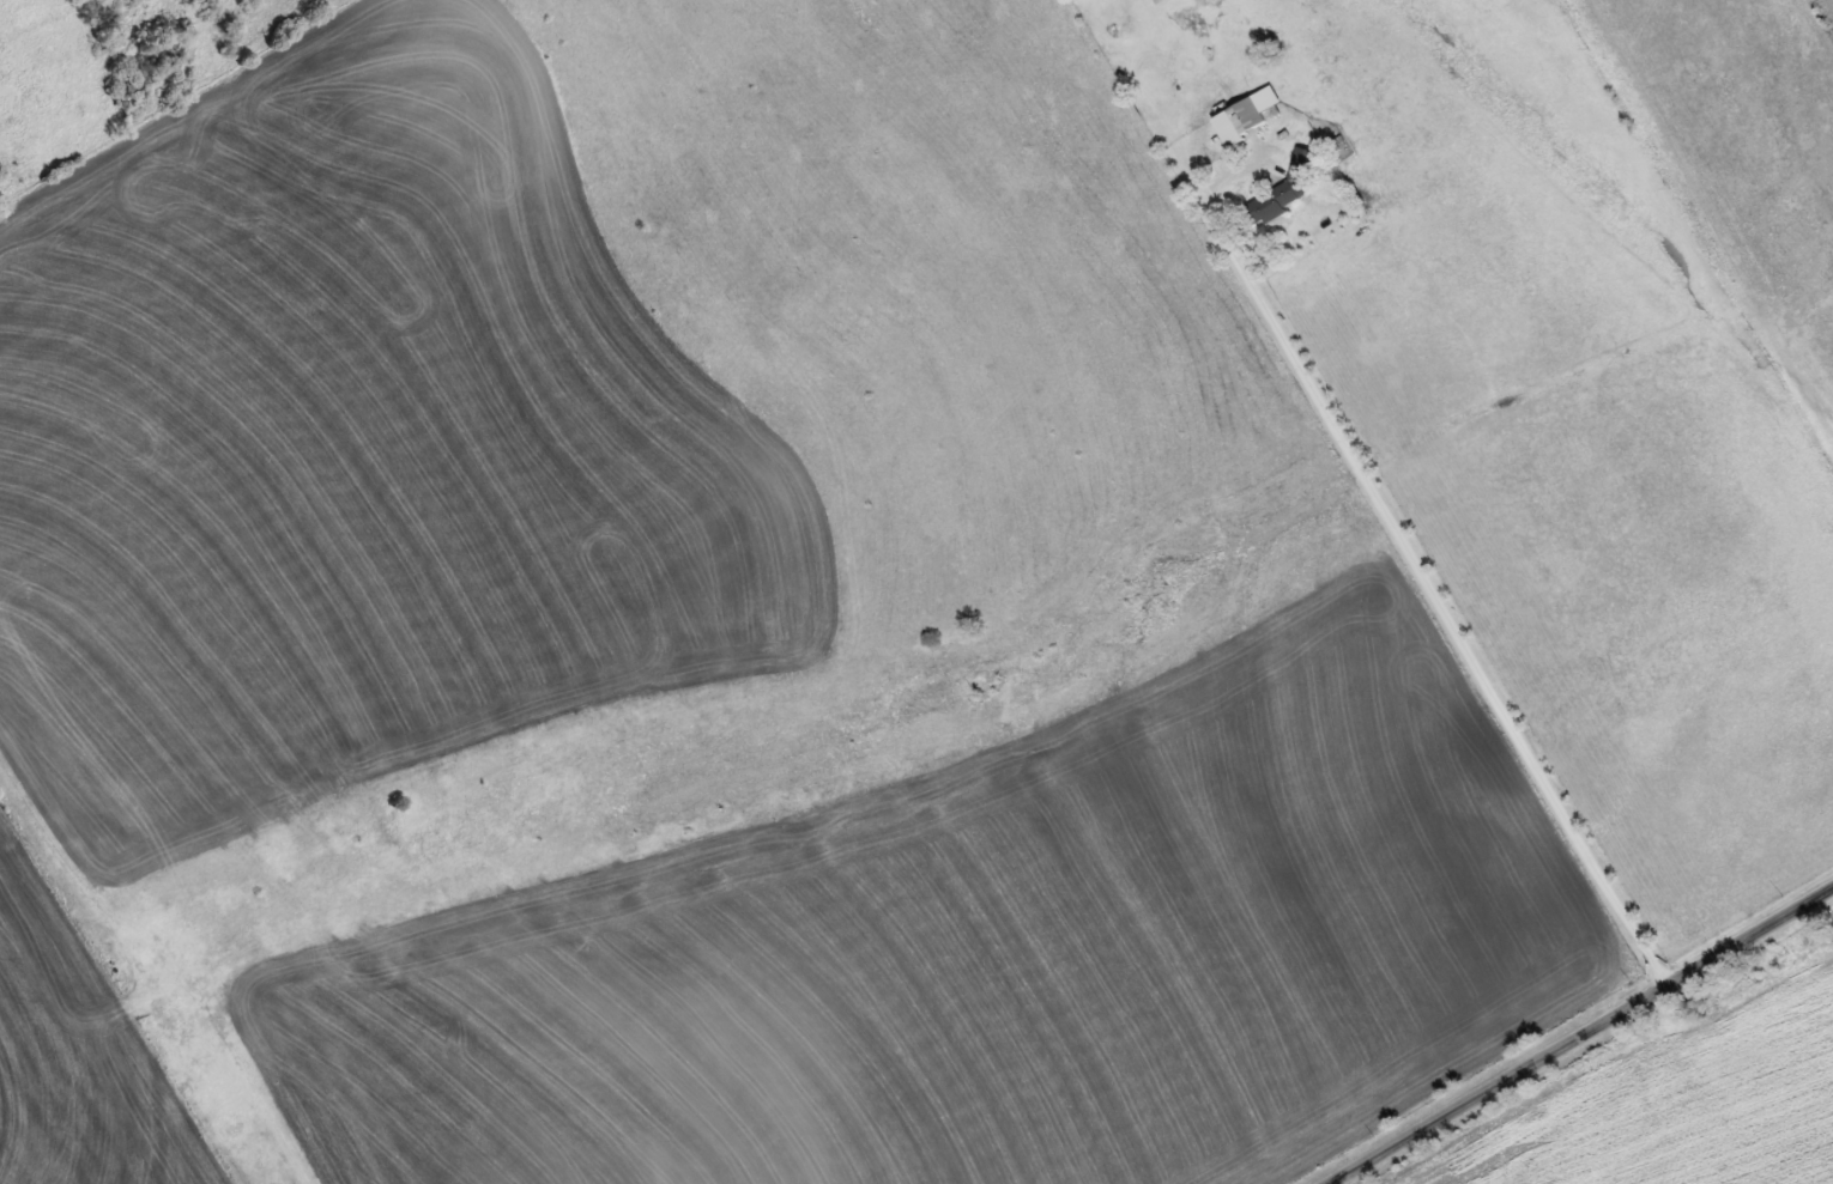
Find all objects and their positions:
building: (1245, 114)
building: (1280, 192)
road: (1734, 645)
road: (1563, 1026)

